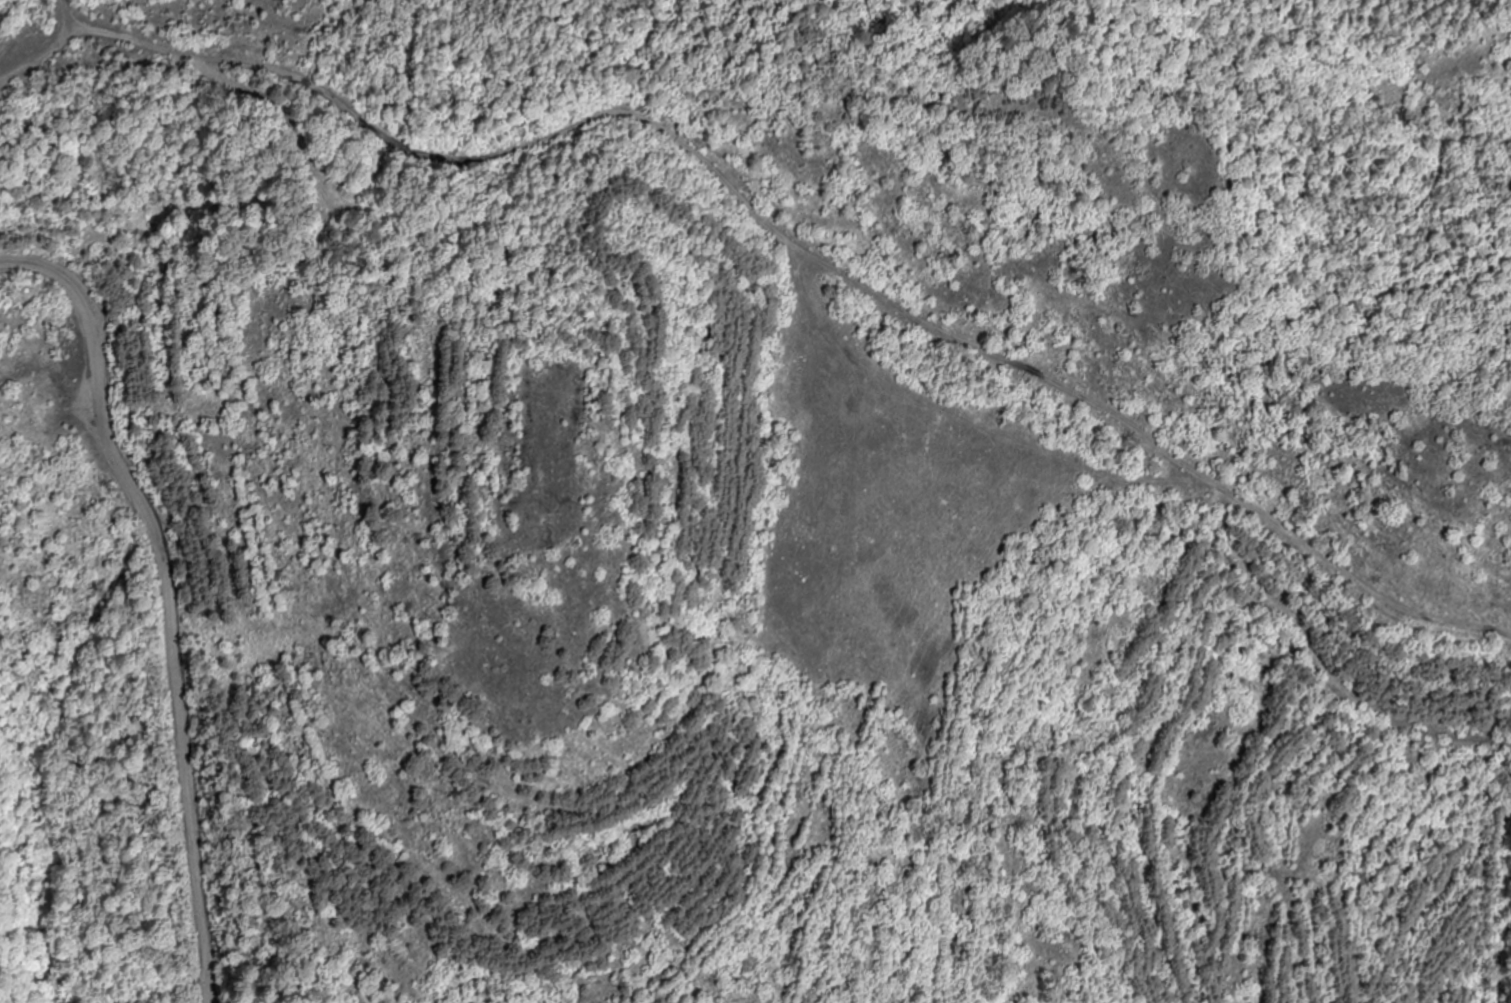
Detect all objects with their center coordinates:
quarry: (305, 418)
road: (168, 534)

